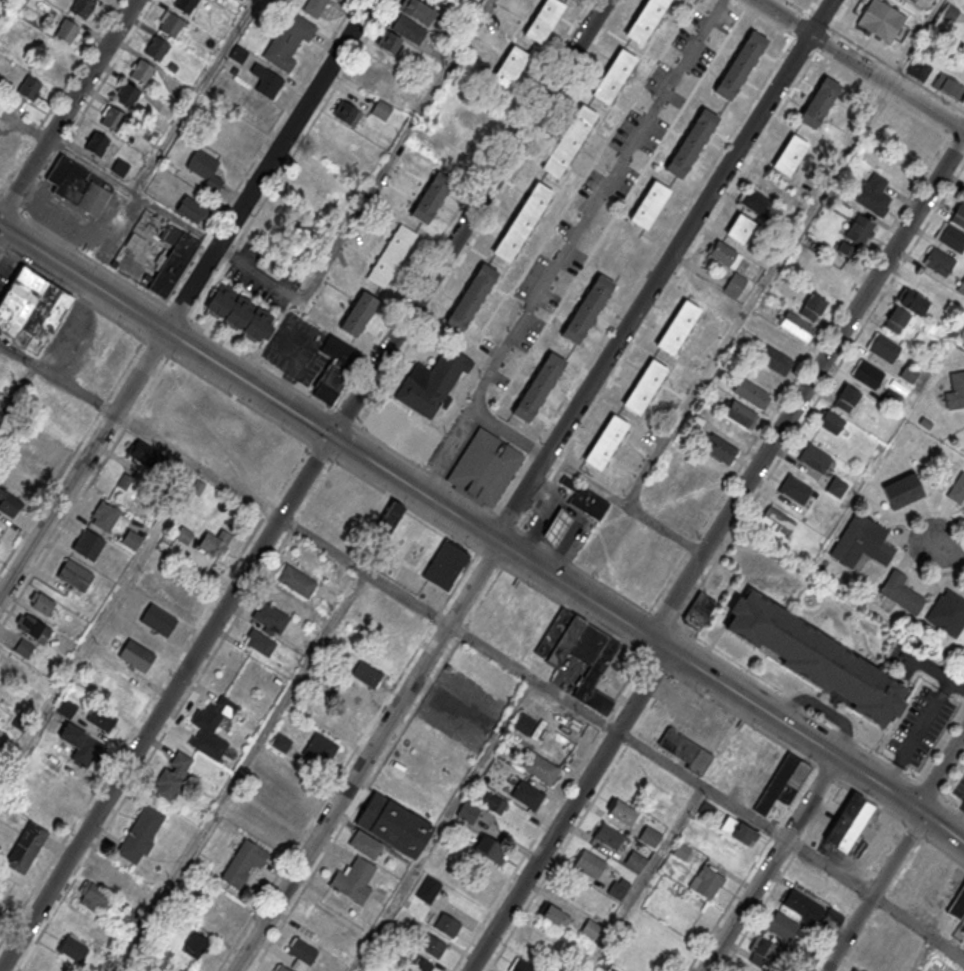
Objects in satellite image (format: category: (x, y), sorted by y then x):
building: (339, 0)
building: (184, 5)
building: (314, 7)
building: (81, 8)
building: (417, 11)
building: (951, 12)
building: (542, 19)
building: (645, 19)
building: (881, 20)
building: (171, 24)
building: (408, 29)
building: (66, 30)
building: (288, 40)
building: (387, 41)
building: (156, 48)
building: (740, 64)
road: (860, 65)
building: (508, 68)
building: (918, 69)
building: (141, 71)
building: (613, 76)
building: (223, 80)
building: (266, 81)
building: (947, 87)
building: (29, 89)
road: (58, 94)
building: (127, 95)
building: (819, 102)
building: (257, 104)
road: (66, 108)
building: (380, 109)
building: (346, 112)
building: (112, 118)
building: (478, 122)
road: (24, 123)
road: (167, 139)
building: (569, 140)
building: (97, 143)
building: (691, 143)
road: (395, 151)
building: (789, 154)
building: (459, 159)
road: (267, 165)
building: (204, 168)
building: (893, 169)
building: (78, 185)
parking lot: (601, 194)
building: (873, 194)
building: (430, 197)
building: (758, 202)
building: (649, 204)
building: (192, 208)
building: (958, 214)
road: (468, 218)
building: (522, 220)
building: (739, 227)
building: (859, 230)
parking lot: (108, 231)
building: (950, 236)
road: (567, 243)
building: (845, 249)
road: (1, 252)
building: (724, 254)
building: (391, 255)
building: (938, 261)
building: (172, 264)
road: (662, 271)
road: (258, 275)
building: (734, 285)
building: (961, 286)
road: (753, 292)
building: (470, 297)
building: (912, 300)
building: (30, 303)
building: (812, 306)
building: (240, 312)
building: (358, 313)
building: (897, 319)
building: (796, 325)
building: (677, 326)
building: (784, 341)
building: (884, 347)
building: (562, 348)
building: (118, 352)
road: (625, 356)
building: (775, 360)
building: (335, 368)
building: (867, 374)
building: (431, 381)
building: (644, 385)
building: (756, 387)
road: (806, 387)
building: (955, 390)
building: (846, 398)
building: (741, 413)
road: (128, 421)
building: (831, 421)
building: (54, 426)
building: (394, 426)
road: (509, 430)
traffic signals: (330, 437)
building: (605, 441)
building: (717, 448)
building: (148, 456)
building: (815, 457)
road: (82, 464)
building: (484, 466)
building: (124, 481)
building: (836, 486)
building: (957, 488)
building: (795, 489)
building: (902, 489)
building: (584, 499)
building: (8, 503)
road: (624, 505)
building: (104, 515)
building: (390, 517)
building: (776, 522)
building: (556, 527)
road: (901, 533)
road: (482, 534)
building: (184, 536)
building: (131, 539)
building: (861, 542)
building: (88, 544)
building: (215, 544)
road: (943, 552)
building: (445, 565)
building: (74, 575)
building: (297, 581)
building: (179, 591)
building: (900, 593)
road: (406, 599)
building: (41, 602)
building: (699, 611)
building: (947, 612)
building: (271, 617)
building: (158, 620)
road: (98, 623)
building: (32, 627)
road: (228, 630)
building: (259, 641)
building: (24, 647)
building: (580, 654)
building: (136, 655)
building: (814, 657)
building: (9, 665)
road: (935, 672)
building: (365, 674)
building: (2, 685)
building: (116, 691)
road: (708, 696)
road: (165, 703)
building: (66, 707)
building: (101, 719)
building: (212, 726)
road: (267, 729)
road: (917, 734)
building: (281, 742)
building: (74, 744)
building: (319, 749)
road: (932, 749)
building: (685, 750)
road: (367, 758)
road: (661, 759)
building: (541, 768)
road: (941, 773)
building: (173, 776)
building: (783, 783)
parking lot: (959, 790)
building: (527, 794)
building: (278, 797)
building: (494, 802)
building: (705, 809)
road: (568, 810)
building: (468, 811)
traffic signals: (919, 811)
building: (623, 812)
road: (550, 814)
building: (392, 824)
building: (846, 824)
building: (737, 829)
building: (140, 834)
building: (609, 836)
building: (649, 836)
building: (365, 844)
building: (26, 847)
building: (491, 848)
building: (681, 850)
road: (655, 857)
building: (635, 860)
building: (443, 861)
building: (243, 863)
building: (589, 863)
road: (769, 863)
building: (113, 877)
building: (353, 880)
building: (706, 881)
building: (618, 888)
building: (428, 889)
road: (537, 890)
road: (874, 892)
building: (95, 897)
building: (957, 903)
building: (803, 906)
building: (554, 915)
building: (132, 917)
building: (963, 917)
building: (831, 921)
building: (446, 925)
building: (782, 925)
building: (591, 929)
road: (918, 929)
building: (195, 946)
building: (434, 946)
building: (73, 948)
building: (303, 952)
building: (763, 952)
building: (418, 964)
building: (520, 966)
building: (283, 969)
building: (389, 970)
building: (854, 970)

